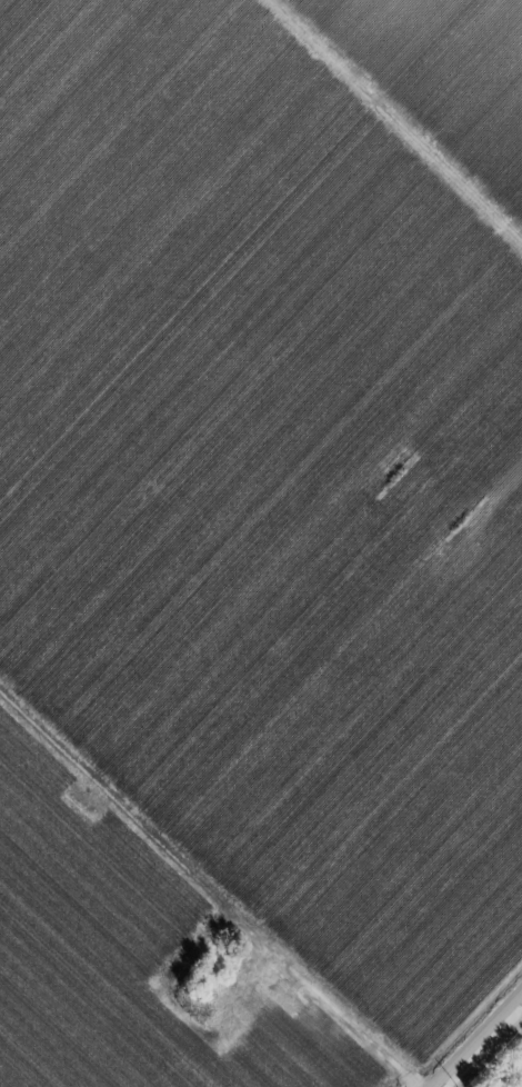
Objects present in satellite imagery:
road: (520, 997)
road: (478, 1038)

